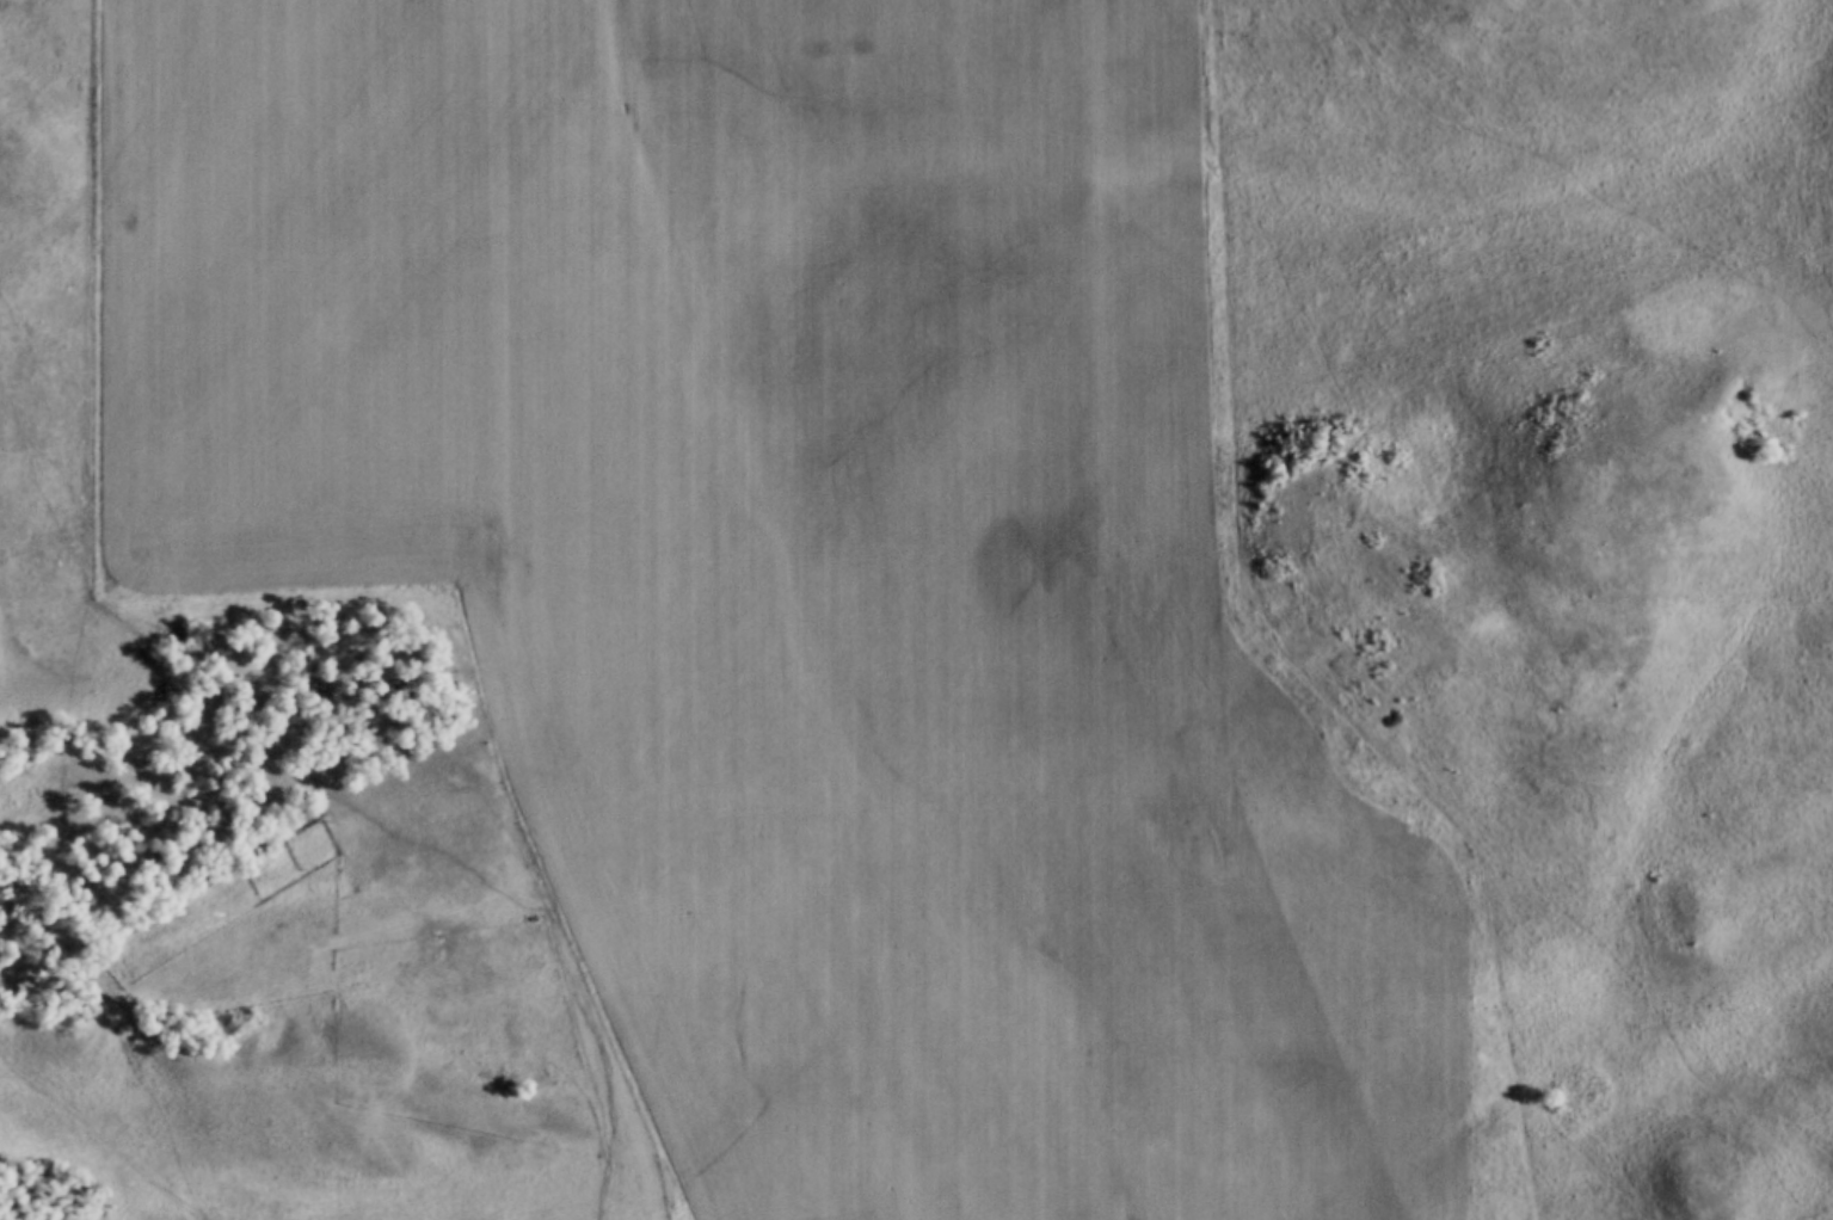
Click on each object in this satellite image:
road: (410, 587)

